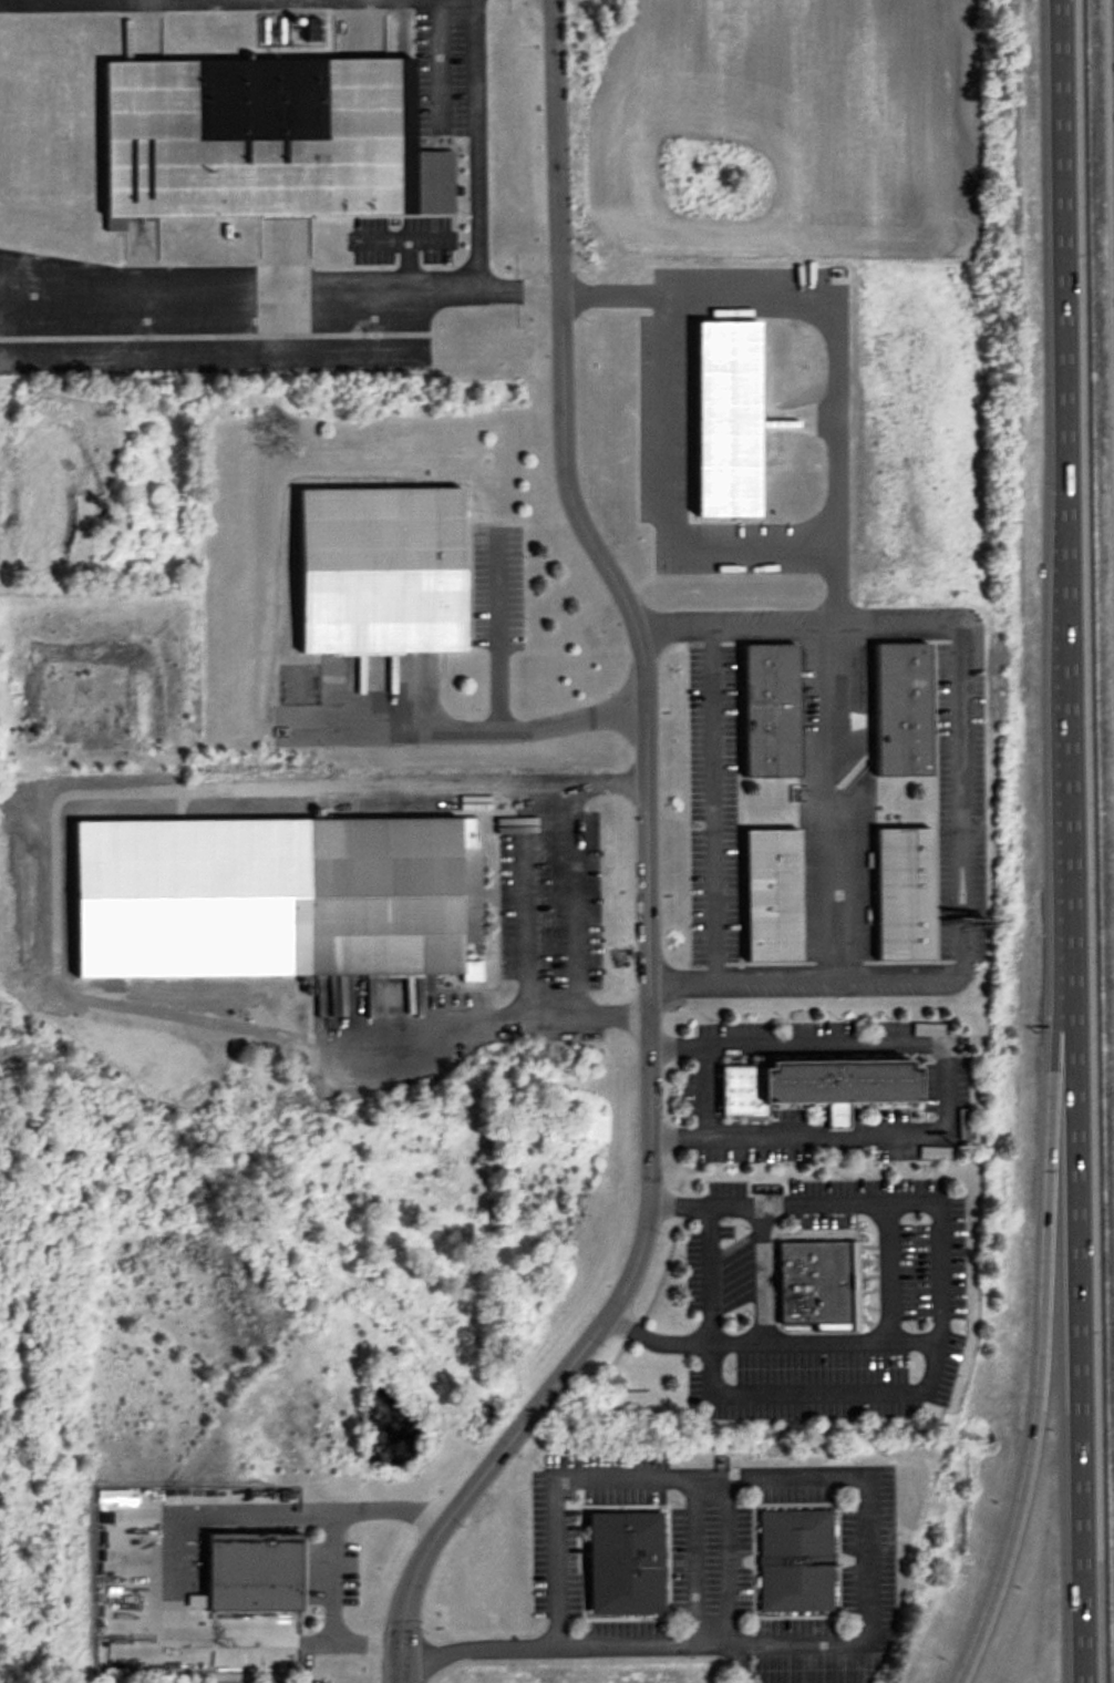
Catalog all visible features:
building: (265, 141)
road: (476, 185)
road: (238, 288)
road: (834, 321)
building: (733, 417)
road: (664, 502)
building: (380, 572)
road: (499, 634)
building: (901, 711)
building: (770, 712)
road: (475, 730)
road: (644, 741)
road: (959, 788)
road: (834, 798)
road: (709, 799)
road: (1069, 841)
building: (904, 896)
building: (389, 897)
building: (772, 897)
road: (532, 900)
building: (813, 1082)
road: (939, 1088)
road: (705, 1089)
road: (709, 1271)
building: (816, 1284)
road: (934, 1285)
road: (652, 1338)
road: (776, 1341)
road: (732, 1342)
road: (1036, 1367)
road: (781, 1474)
road: (390, 1508)
road: (422, 1557)
building: (794, 1561)
building: (625, 1562)
road: (175, 1563)
building: (251, 1571)
road: (331, 1578)
road: (589, 1644)
road: (368, 1646)

